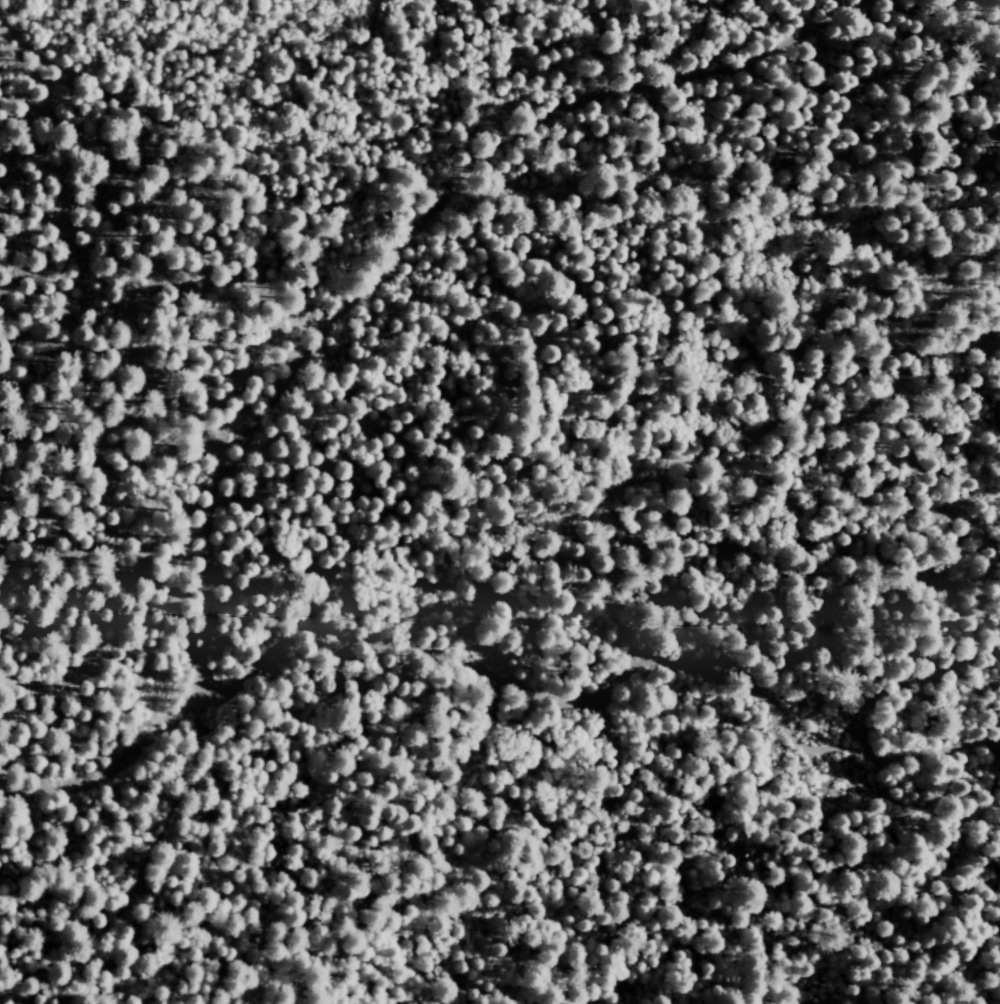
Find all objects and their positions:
road: (333, 424)
road: (465, 678)

